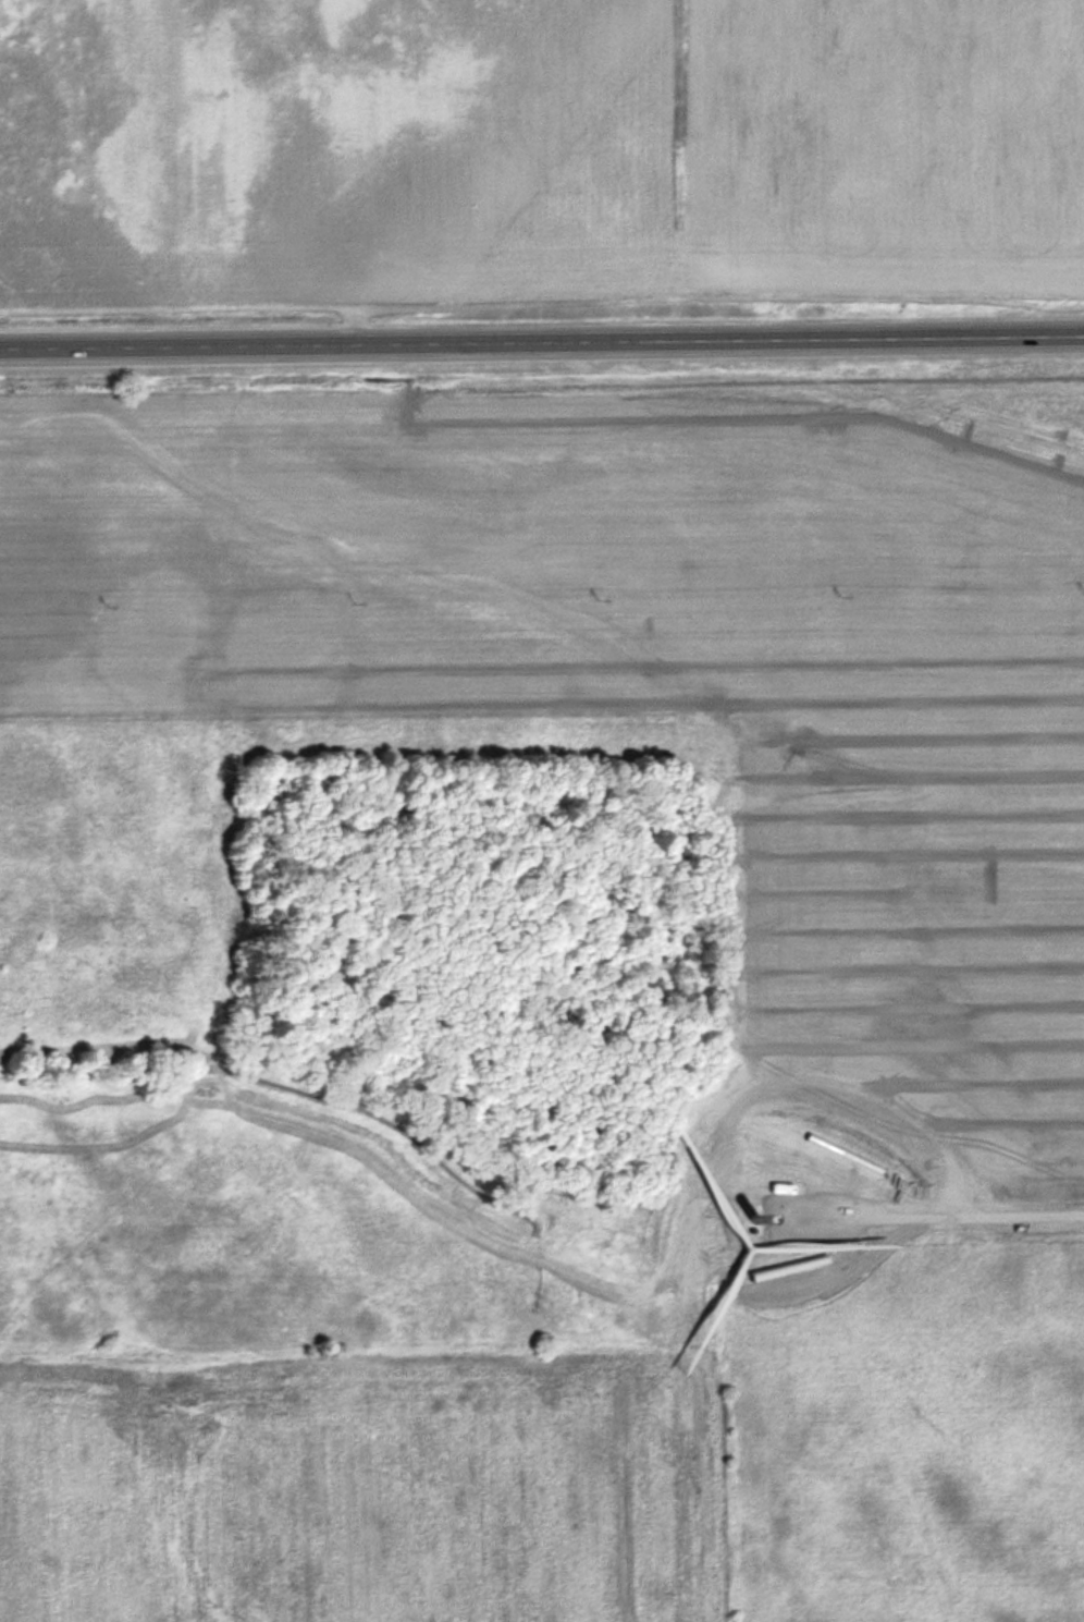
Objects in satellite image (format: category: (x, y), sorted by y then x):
road: (542, 346)
wind turbine: (751, 1221)

